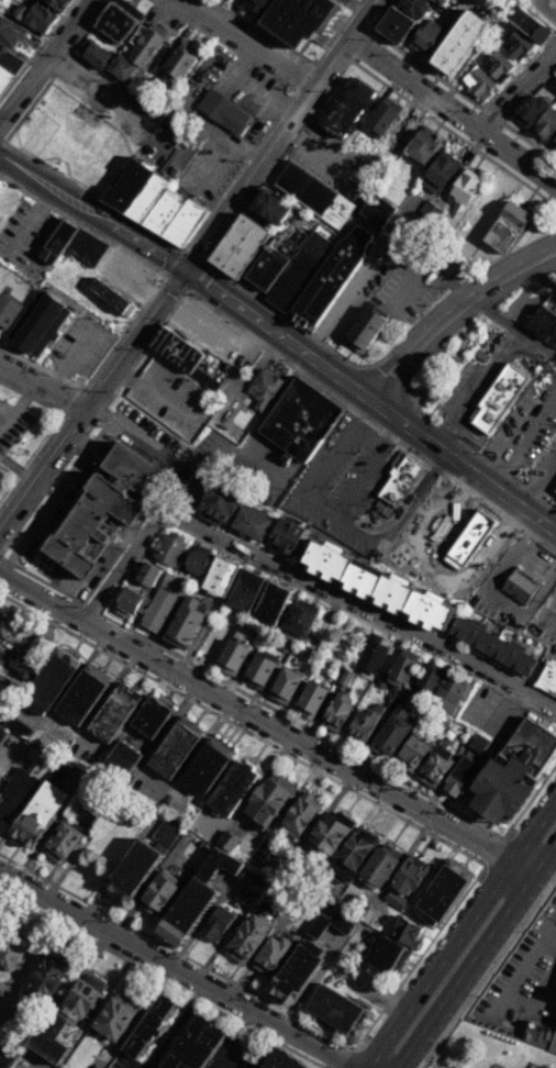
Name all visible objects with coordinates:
building: (230, 0)
building: (343, 1)
building: (440, 2)
building: (56, 4)
building: (414, 7)
building: (20, 10)
road: (231, 12)
building: (40, 16)
building: (293, 16)
building: (115, 23)
building: (529, 23)
building: (397, 26)
road: (262, 32)
building: (10, 33)
building: (426, 36)
building: (459, 41)
road: (247, 42)
building: (147, 43)
building: (0, 44)
road: (223, 44)
building: (515, 44)
road: (360, 45)
road: (37, 49)
building: (94, 54)
road: (44, 56)
building: (179, 62)
building: (497, 64)
building: (8, 66)
building: (121, 68)
road: (307, 75)
building: (130, 80)
building: (478, 81)
building: (553, 84)
road: (454, 88)
road: (518, 94)
parking lot: (105, 97)
road: (105, 99)
building: (346, 109)
building: (531, 110)
building: (222, 111)
road: (451, 114)
building: (80, 115)
road: (491, 115)
building: (382, 118)
road: (286, 123)
building: (545, 125)
building: (403, 130)
road: (1, 141)
building: (554, 141)
road: (529, 142)
building: (423, 145)
road: (19, 152)
road: (324, 157)
road: (242, 167)
building: (440, 174)
building: (0, 183)
building: (126, 185)
building: (464, 189)
building: (313, 193)
building: (146, 197)
building: (269, 207)
road: (81, 209)
building: (431, 210)
building: (163, 211)
building: (377, 211)
building: (185, 223)
road: (30, 225)
building: (507, 227)
road: (225, 233)
building: (56, 242)
building: (233, 242)
traffic signals: (202, 248)
building: (247, 252)
building: (269, 252)
road: (197, 253)
traffic signals: (163, 259)
building: (280, 259)
road: (173, 263)
building: (111, 264)
road: (187, 270)
road: (184, 271)
building: (299, 271)
road: (199, 278)
building: (329, 280)
traffic signals: (204, 287)
road: (409, 287)
road: (456, 289)
road: (152, 292)
traffic signals: (171, 293)
building: (111, 296)
road: (344, 296)
building: (8, 310)
road: (451, 310)
building: (37, 322)
building: (542, 323)
road: (241, 327)
building: (364, 329)
building: (205, 330)
road: (285, 341)
building: (178, 351)
road: (74, 356)
road: (426, 358)
road: (536, 361)
park: (448, 364)
road: (44, 386)
road: (475, 386)
building: (265, 388)
road: (71, 398)
building: (498, 398)
road: (15, 403)
road: (86, 412)
road: (211, 415)
building: (300, 419)
parking lot: (11, 424)
road: (55, 432)
road: (524, 437)
road: (480, 442)
road: (462, 461)
road: (368, 466)
road: (202, 471)
parking lot: (344, 476)
road: (537, 479)
road: (64, 483)
building: (397, 485)
building: (555, 489)
gas station: (555, 489)
road: (527, 490)
building: (220, 503)
building: (104, 508)
road: (342, 518)
building: (252, 522)
building: (456, 527)
building: (285, 535)
building: (169, 547)
building: (481, 549)
building: (196, 559)
road: (431, 567)
road: (294, 572)
building: (147, 574)
building: (220, 576)
road: (42, 581)
building: (171, 582)
building: (378, 585)
building: (520, 585)
building: (245, 591)
road: (494, 592)
building: (130, 602)
building: (271, 603)
road: (372, 604)
road: (91, 609)
building: (158, 610)
road: (555, 613)
road: (102, 614)
building: (299, 620)
building: (4, 621)
building: (185, 622)
building: (0, 643)
building: (286, 644)
building: (492, 645)
building: (370, 655)
building: (232, 657)
building: (24, 663)
building: (402, 667)
building: (259, 669)
building: (343, 677)
building: (547, 678)
building: (49, 680)
building: (429, 680)
building: (285, 686)
building: (82, 693)
building: (447, 696)
building: (310, 700)
building: (114, 711)
building: (336, 713)
building: (151, 717)
road: (256, 720)
building: (441, 721)
road: (504, 722)
building: (363, 724)
building: (394, 726)
building: (16, 727)
building: (2, 733)
building: (478, 742)
building: (175, 747)
building: (412, 754)
building: (121, 759)
building: (207, 767)
building: (436, 767)
building: (58, 771)
building: (513, 771)
building: (462, 777)
building: (20, 785)
building: (232, 788)
building: (269, 798)
building: (38, 812)
building: (300, 812)
building: (330, 832)
road: (535, 833)
building: (227, 841)
building: (62, 842)
road: (493, 850)
building: (262, 856)
building: (352, 856)
road: (544, 857)
building: (219, 866)
building: (380, 867)
road: (523, 868)
building: (133, 870)
building: (289, 875)
building: (410, 875)
road: (148, 883)
building: (251, 883)
road: (8, 893)
building: (158, 893)
building: (442, 893)
road: (463, 895)
building: (297, 897)
building: (394, 901)
building: (186, 913)
building: (367, 916)
road: (548, 923)
building: (216, 925)
building: (325, 927)
street lamp: (522, 931)
building: (405, 934)
building: (248, 938)
building: (10, 949)
building: (271, 955)
building: (386, 956)
road: (441, 965)
road: (487, 969)
road: (173, 970)
road: (464, 970)
building: (296, 972)
building: (47, 977)
road: (162, 978)
parking lot: (522, 984)
street lamp: (477, 994)
building: (81, 998)
road: (502, 999)
building: (333, 1009)
building: (114, 1017)
building: (147, 1027)
road: (175, 1027)
building: (537, 1034)
building: (48, 1039)
road: (234, 1041)
road: (553, 1044)
building: (193, 1045)
park: (490, 1050)
road: (348, 1058)
road: (438, 1058)
building: (280, 1060)
street lamp: (435, 1060)
road: (121, 1065)

